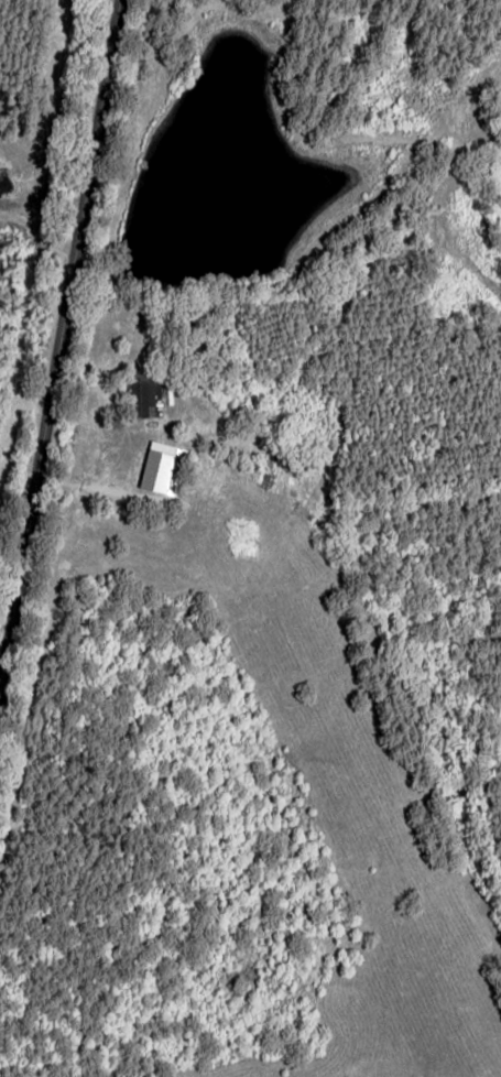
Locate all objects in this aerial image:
road: (80, 359)
building: (160, 470)

